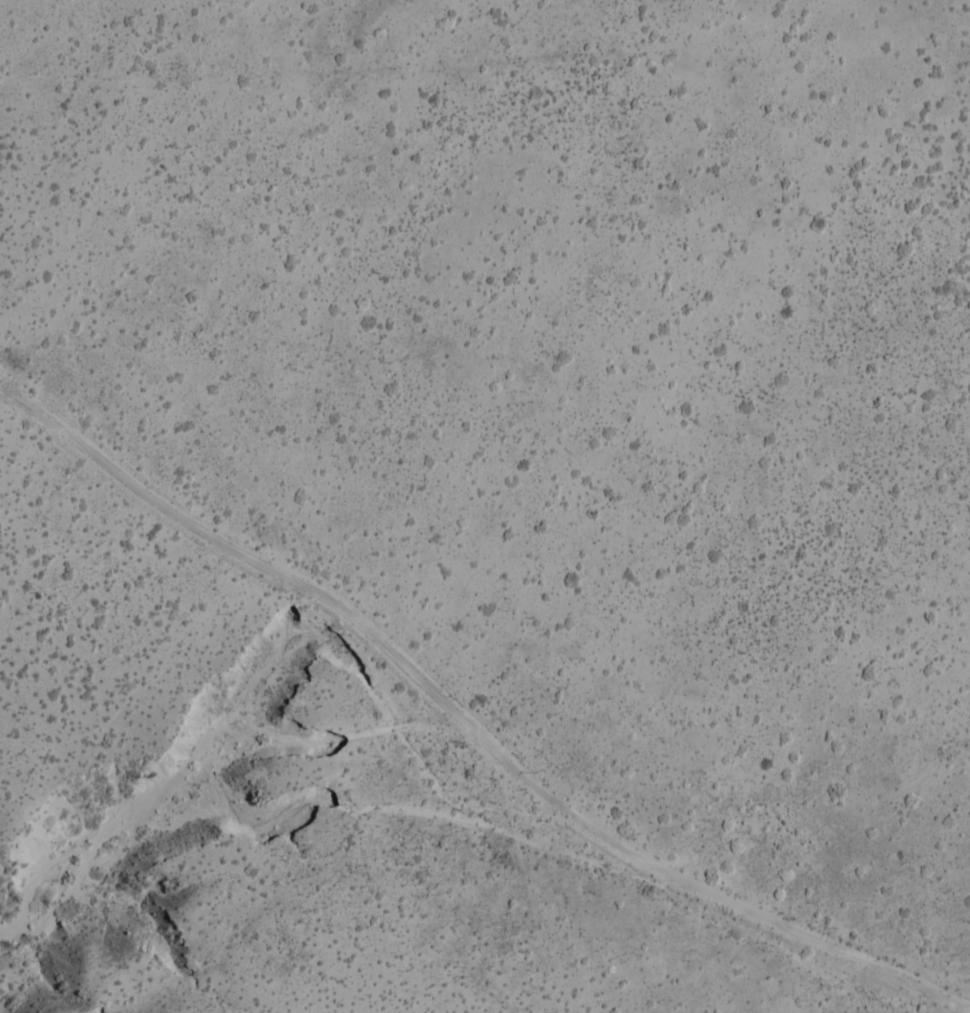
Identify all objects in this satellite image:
road: (467, 723)

